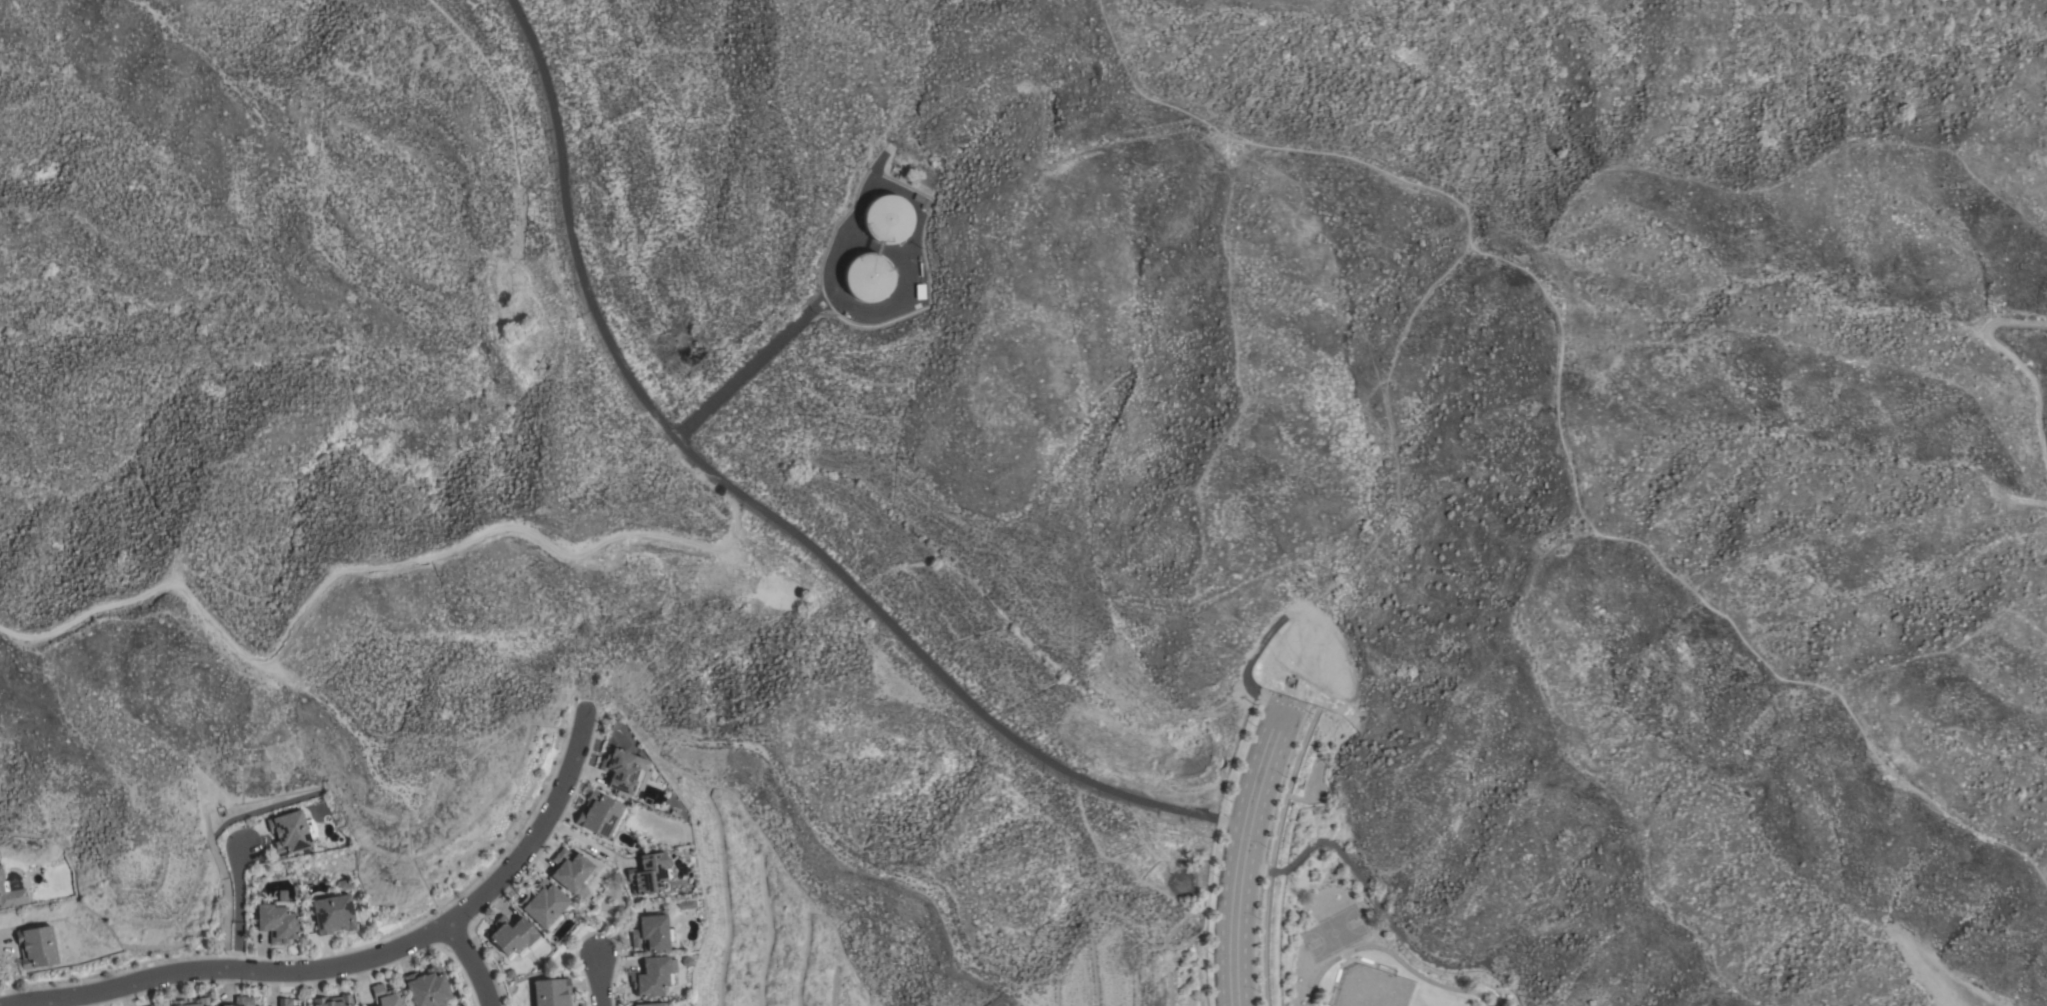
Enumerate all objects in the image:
building: (922, 201)
building: (887, 219)
road: (910, 244)
building: (868, 277)
road: (2004, 357)
road: (750, 364)
road: (1554, 424)
road: (2029, 501)
road: (761, 511)
road: (354, 570)
road: (1234, 754)
building: (624, 771)
building: (599, 814)
building: (291, 833)
road: (587, 844)
road: (1240, 849)
road: (1272, 856)
building: (572, 873)
building: (649, 874)
building: (344, 886)
building: (11, 890)
road: (1157, 890)
road: (226, 893)
building: (543, 904)
road: (237, 908)
road: (1205, 912)
building: (333, 914)
building: (278, 920)
building: (652, 933)
building: (514, 938)
building: (36, 947)
road: (357, 962)
road: (469, 963)
building: (653, 976)
road: (597, 981)
building: (427, 987)
building: (551, 992)
building: (385, 997)
building: (243, 1001)
building: (335, 1001)
building: (192, 1002)
building: (284, 1002)
building: (225, 1005)
building: (630, 1005)
building: (657, 1005)

